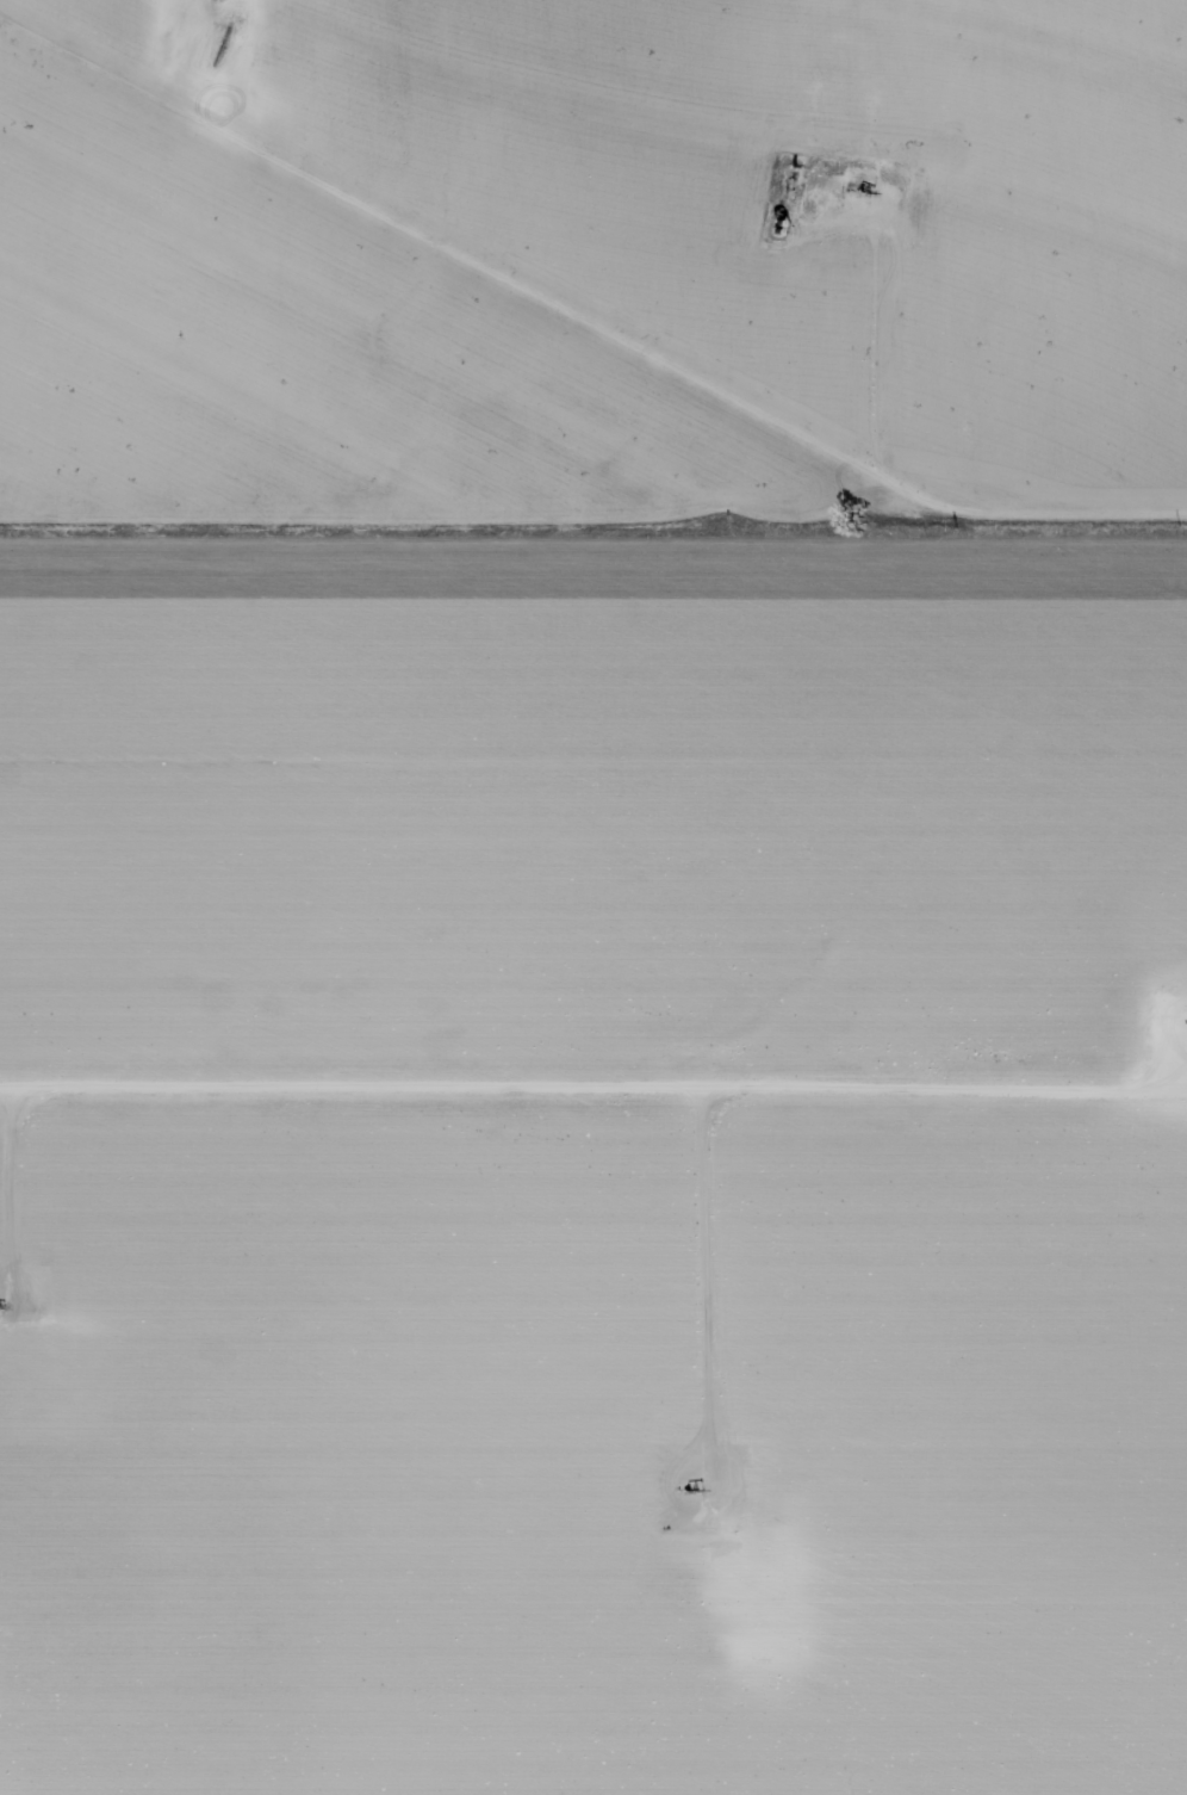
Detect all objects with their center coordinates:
petroleum well: (865, 196)
road: (593, 1095)
petroleum well: (685, 1494)

